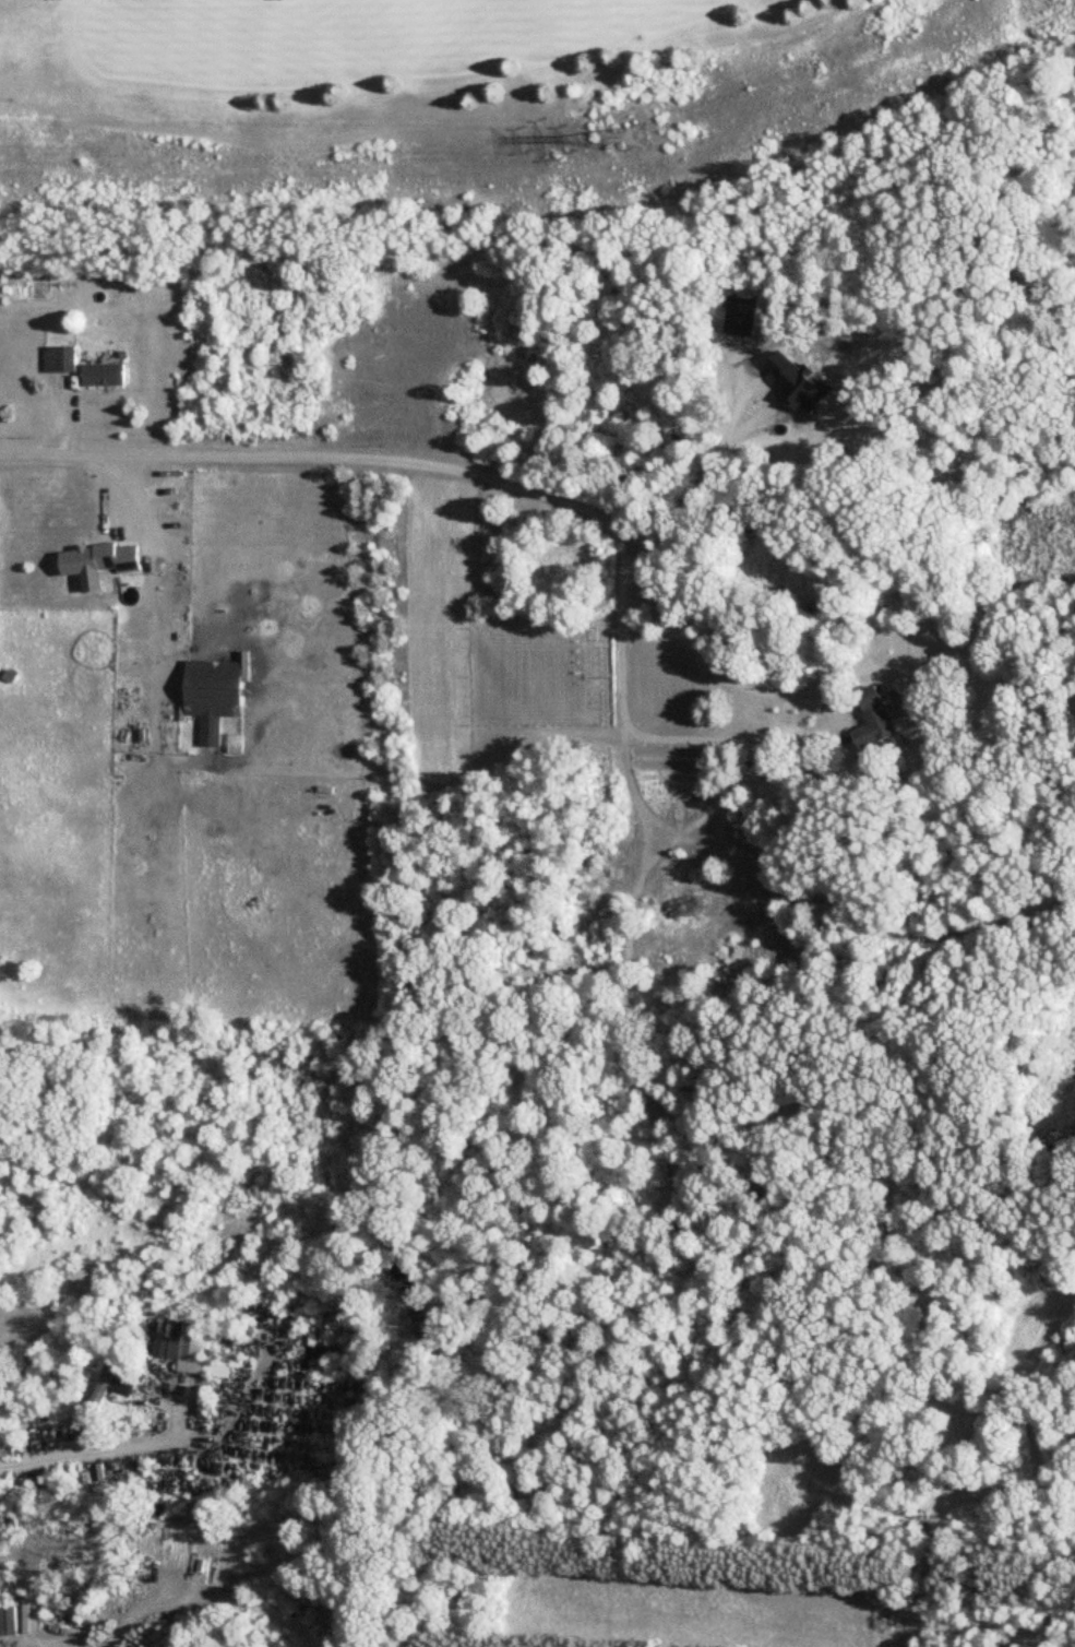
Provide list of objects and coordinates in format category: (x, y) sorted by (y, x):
park: (361, 60)
power tower: (634, 142)
building: (60, 360)
building: (103, 376)
road: (319, 458)
road: (707, 479)
building: (89, 559)
building: (214, 696)
building: (874, 720)
road: (791, 737)
road: (931, 1291)
building: (196, 1352)
building: (112, 1385)
road: (85, 1458)

